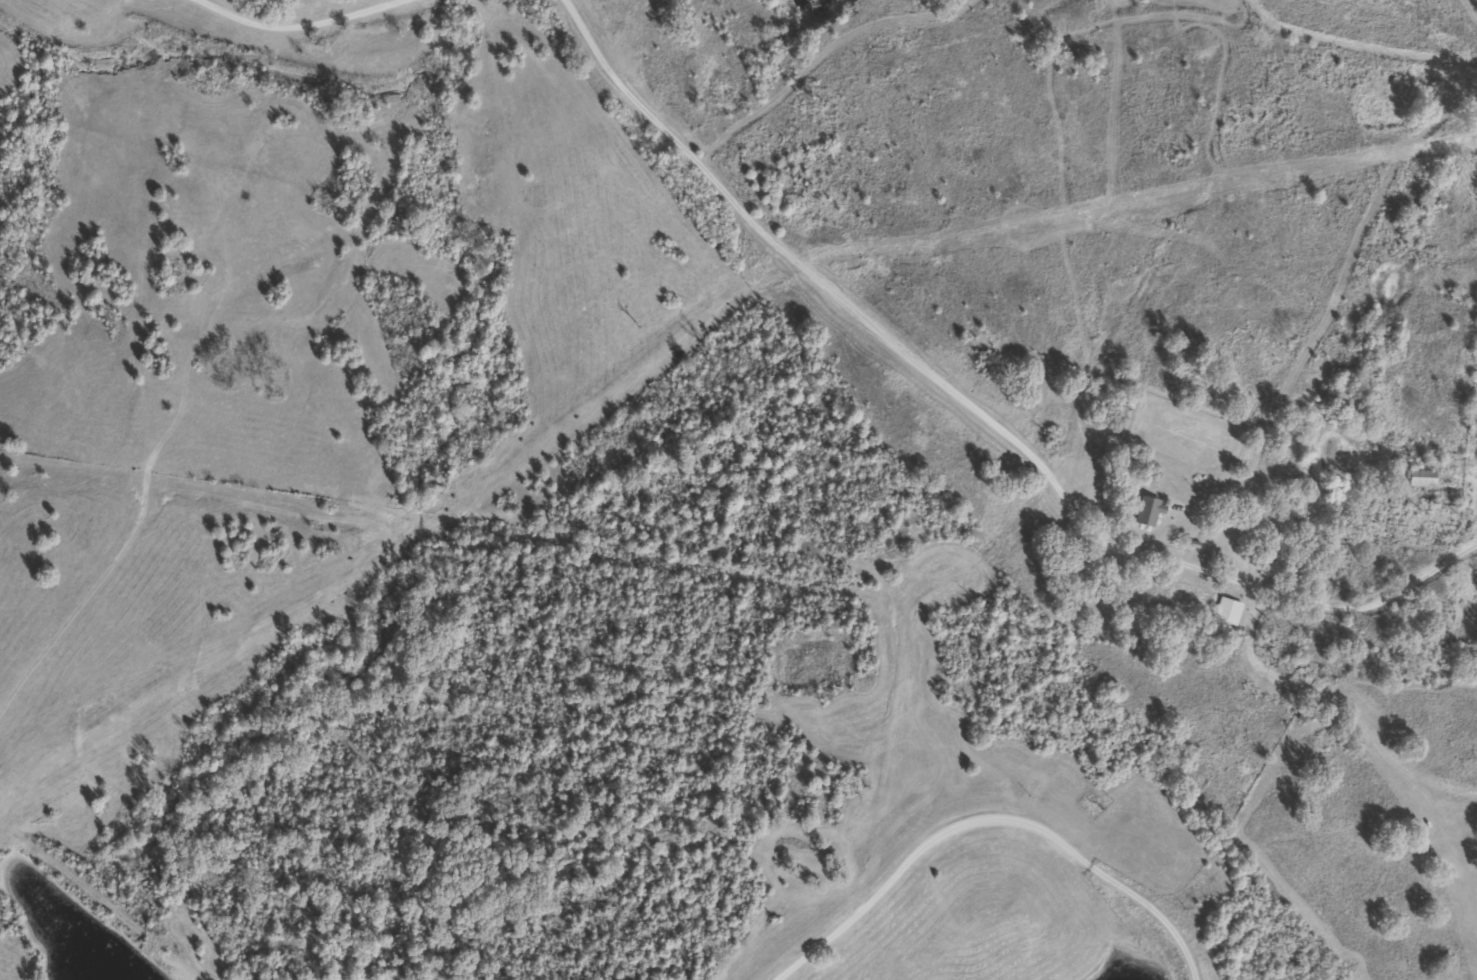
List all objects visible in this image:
building: (1417, 478)
building: (1144, 511)
building: (1267, 568)
building: (1224, 611)
road: (1000, 838)

